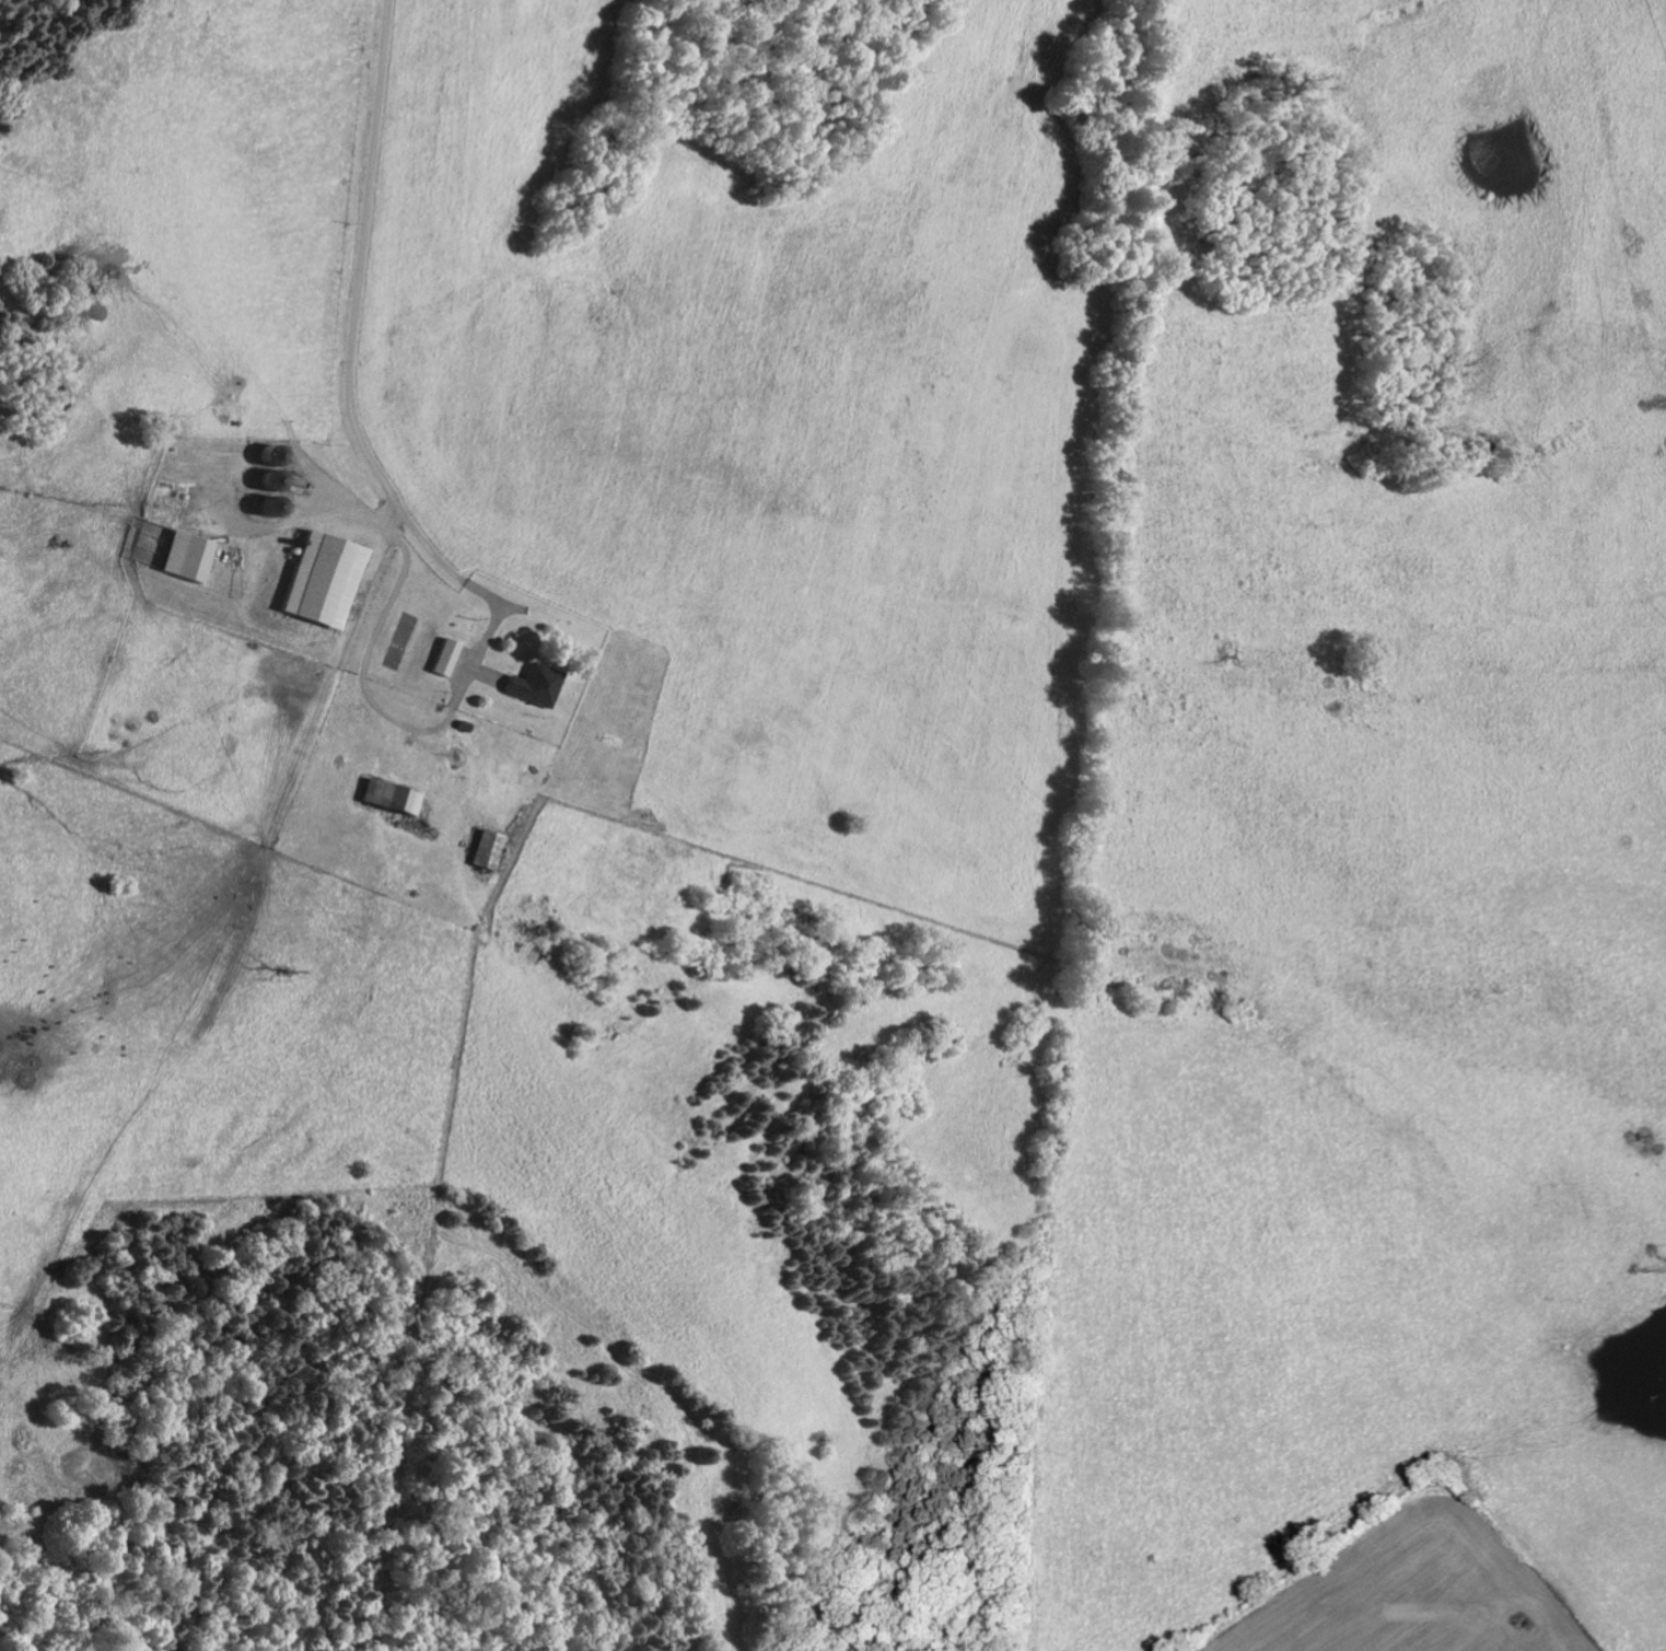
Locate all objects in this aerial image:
road: (361, 257)
road: (313, 518)
building: (190, 555)
building: (327, 579)
building: (448, 656)
building: (539, 685)
road: (439, 730)
building: (395, 797)
building: (490, 849)

